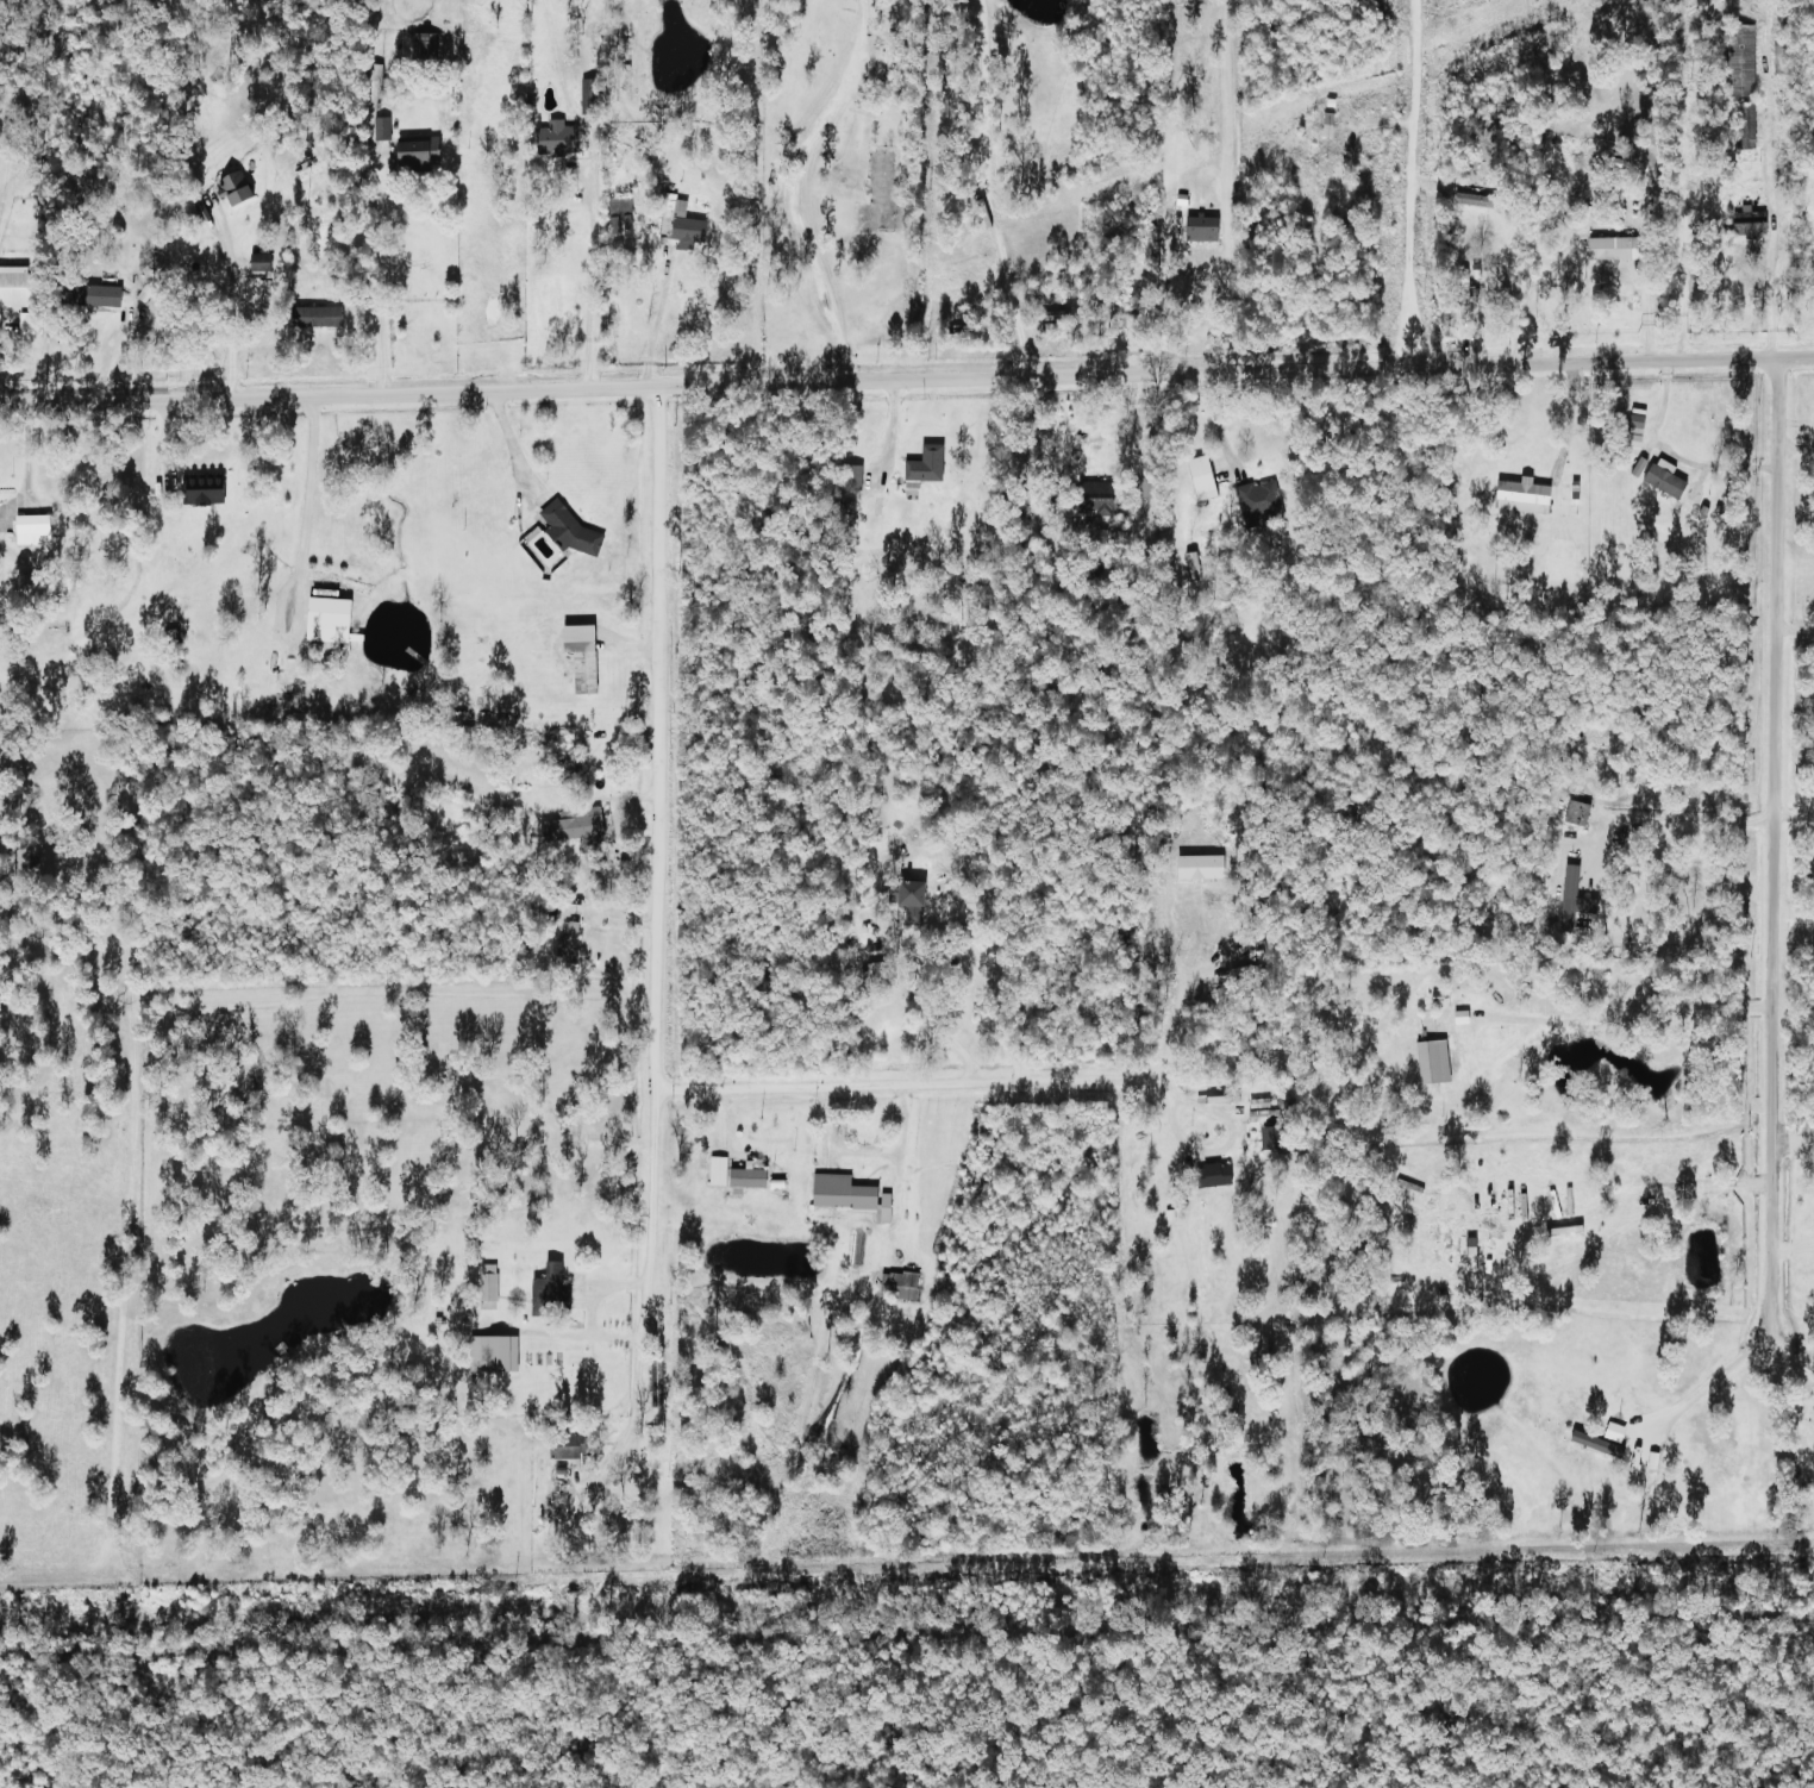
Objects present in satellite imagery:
building: (1743, 61)
building: (593, 96)
building: (1746, 126)
building: (383, 129)
building: (561, 139)
building: (420, 151)
building: (309, 173)
building: (1810, 173)
road: (790, 183)
road: (1408, 183)
building: (238, 188)
road: (986, 189)
building: (1750, 218)
building: (689, 227)
building: (1203, 227)
road: (1776, 229)
building: (1620, 249)
road: (592, 254)
building: (262, 264)
road: (380, 279)
building: (15, 287)
building: (105, 296)
road: (223, 299)
building: (323, 317)
road: (907, 376)
building: (1638, 421)
road: (509, 439)
building: (926, 467)
building: (1640, 467)
building: (1203, 479)
building: (1666, 479)
building: (206, 490)
building: (1524, 496)
building: (1258, 499)
building: (1096, 500)
road: (307, 501)
building: (35, 530)
building: (571, 530)
building: (331, 620)
road: (1797, 631)
building: (586, 663)
road: (658, 738)
road: (1672, 817)
building: (573, 827)
road: (1779, 842)
building: (1202, 868)
building: (1575, 898)
building: (913, 901)
road: (1166, 995)
road: (927, 1015)
road: (1638, 1018)
building: (1434, 1062)
road: (893, 1088)
building: (1259, 1104)
building: (1258, 1115)
road: (1230, 1132)
building: (1271, 1143)
building: (719, 1171)
building: (1209, 1175)
building: (750, 1177)
building: (850, 1195)
road: (1796, 1248)
building: (489, 1282)
building: (900, 1286)
building: (549, 1288)
road: (644, 1294)
road: (1797, 1346)
building: (495, 1353)
road: (1710, 1381)
building: (1595, 1443)
building: (569, 1446)
building: (1645, 1459)

